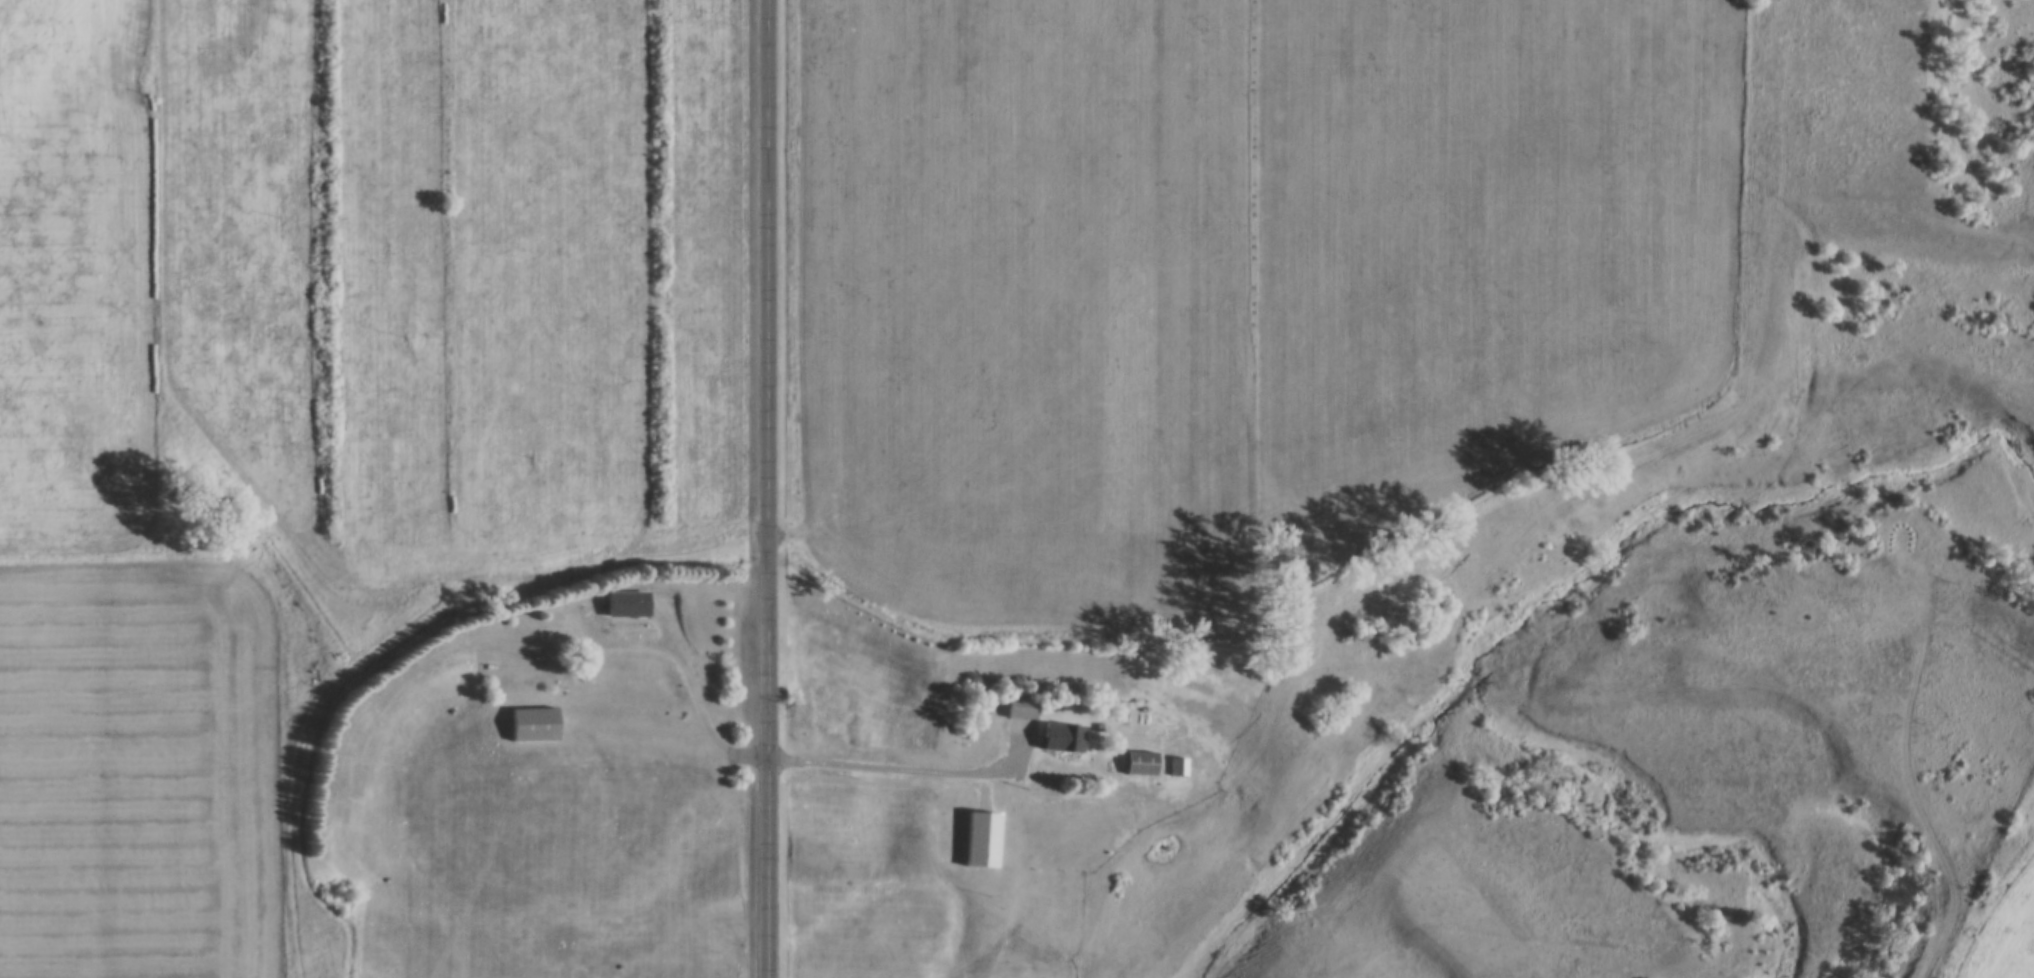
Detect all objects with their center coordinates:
road: (767, 489)
building: (627, 606)
road: (690, 685)
building: (1023, 709)
building: (535, 726)
building: (1069, 740)
road: (1910, 743)
building: (1142, 765)
road: (904, 769)
building: (1179, 769)

